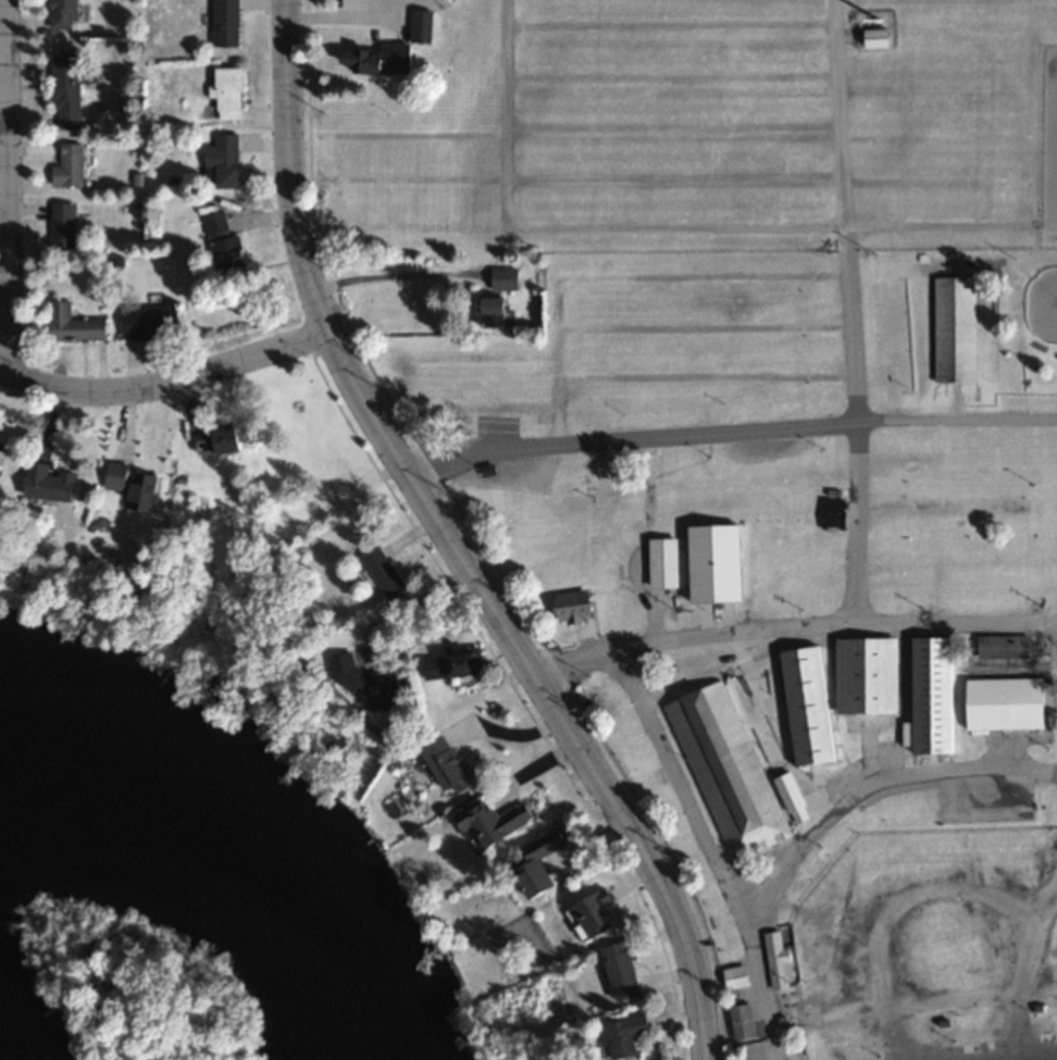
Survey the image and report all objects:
building: (64, 14)
building: (228, 22)
building: (424, 25)
building: (879, 37)
building: (372, 61)
building: (70, 87)
building: (232, 92)
building: (226, 159)
building: (71, 164)
road: (9, 188)
building: (64, 225)
building: (227, 244)
building: (508, 277)
building: (1045, 302)
road: (851, 310)
building: (498, 311)
building: (152, 322)
building: (75, 324)
building: (952, 328)
road: (166, 384)
road: (728, 435)
building: (225, 438)
building: (3, 442)
building: (2, 464)
park: (772, 472)
building: (123, 474)
building: (57, 481)
building: (150, 488)
road: (453, 544)
building: (666, 561)
building: (719, 561)
building: (386, 571)
building: (580, 603)
road: (957, 620)
road: (695, 646)
building: (1000, 646)
building: (458, 663)
building: (869, 674)
building: (374, 679)
building: (932, 694)
building: (1000, 702)
building: (809, 703)
building: (451, 763)
building: (729, 770)
building: (794, 796)
building: (497, 819)
building: (549, 863)
road: (776, 870)
building: (599, 912)
building: (781, 958)
building: (626, 970)
road: (759, 974)
building: (738, 975)
building: (745, 1021)
building: (630, 1034)

